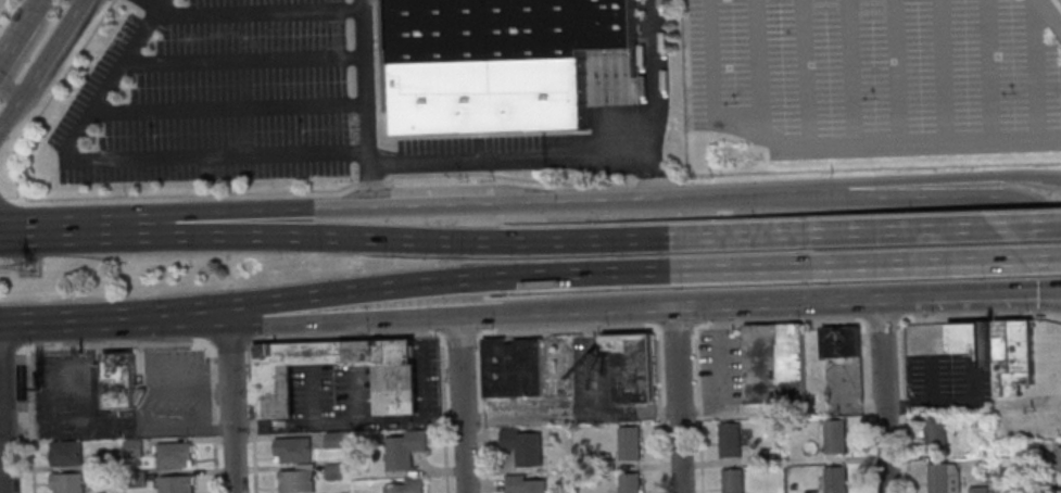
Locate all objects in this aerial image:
road: (76, 3)
road: (249, 14)
road: (1047, 16)
road: (18, 29)
road: (60, 30)
building: (521, 41)
road: (23, 52)
road: (241, 64)
road: (36, 68)
road: (754, 68)
road: (1032, 68)
road: (987, 69)
road: (940, 71)
road: (894, 72)
road: (848, 73)
road: (803, 74)
parking lot: (877, 75)
parking lot: (225, 91)
road: (16, 99)
road: (364, 103)
road: (227, 112)
road: (825, 147)
road: (128, 160)
road: (793, 189)
road: (938, 195)
road: (456, 203)
road: (244, 210)
road: (18, 222)
road: (72, 228)
road: (935, 228)
road: (27, 229)
road: (8, 230)
road: (456, 240)
road: (936, 263)
power tower: (28, 268)
road: (516, 276)
road: (1047, 288)
road: (970, 294)
road: (1047, 296)
road: (736, 302)
road: (113, 318)
road: (396, 318)
road: (653, 326)
building: (969, 338)
road: (227, 341)
road: (104, 344)
building: (839, 346)
building: (1010, 356)
road: (458, 367)
building: (630, 367)
building: (772, 367)
building: (508, 368)
parking lot: (947, 376)
road: (927, 380)
building: (114, 381)
road: (974, 381)
road: (229, 387)
building: (394, 390)
road: (882, 395)
building: (169, 396)
road: (675, 397)
road: (929, 402)
road: (863, 406)
road: (902, 406)
road: (697, 408)
road: (657, 409)
road: (442, 413)
road: (479, 413)
road: (213, 417)
road: (249, 417)
road: (29, 420)
road: (346, 424)
building: (932, 434)
building: (333, 440)
building: (834, 440)
building: (627, 443)
building: (732, 443)
building: (520, 446)
building: (131, 447)
building: (1030, 448)
building: (291, 450)
building: (403, 450)
building: (64, 454)
building: (173, 455)
road: (463, 456)
building: (108, 458)
building: (767, 458)
building: (1058, 462)
road: (1, 463)
building: (604, 463)
building: (302, 467)
building: (333, 471)
road: (232, 476)
building: (940, 478)
building: (135, 479)
building: (294, 481)
building: (835, 481)
building: (732, 482)
building: (65, 483)
building: (628, 483)
building: (174, 484)
building: (521, 484)
building: (404, 486)
building: (975, 490)
building: (1057, 490)

